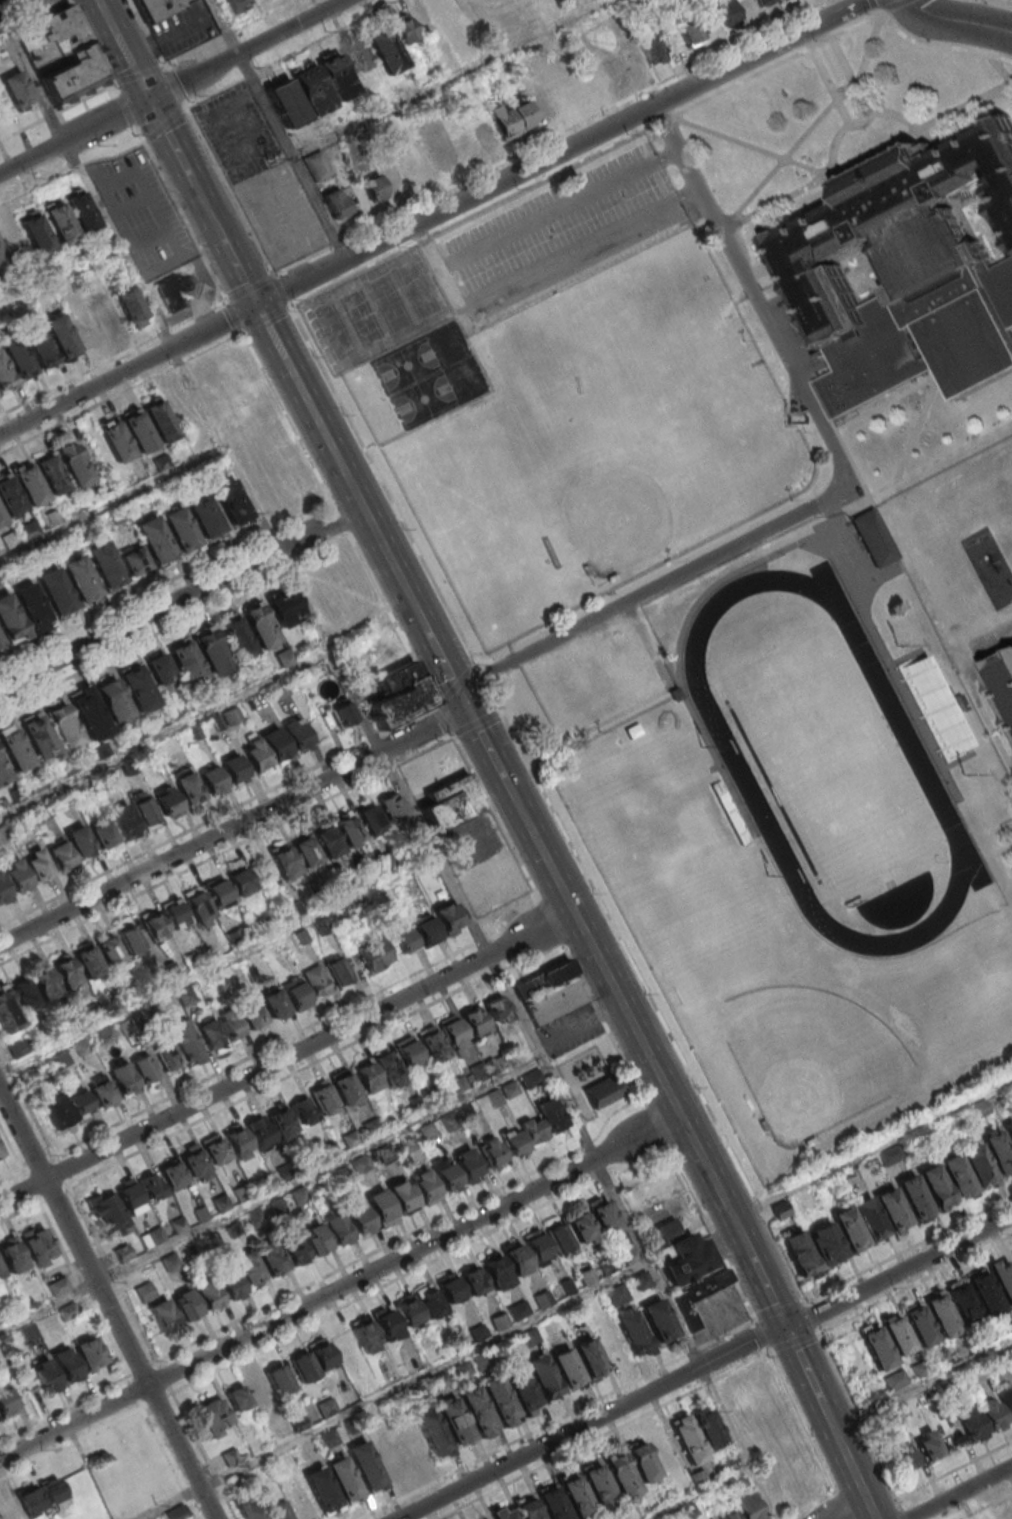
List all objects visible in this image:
building: (766, 4)
building: (238, 5)
road: (875, 5)
park: (25, 6)
road: (897, 6)
building: (158, 8)
building: (444, 8)
building: (725, 11)
building: (425, 17)
road: (953, 21)
building: (403, 28)
building: (689, 31)
road: (148, 33)
road: (5, 36)
building: (52, 36)
road: (95, 47)
road: (939, 47)
building: (651, 48)
road: (124, 49)
building: (385, 50)
road: (291, 52)
building: (624, 63)
road: (775, 64)
road: (838, 65)
road: (163, 66)
road: (166, 68)
road: (995, 70)
road: (140, 74)
building: (74, 75)
road: (450, 78)
road: (174, 85)
road: (826, 86)
road: (172, 87)
building: (17, 88)
road: (995, 96)
traffic signals: (150, 98)
road: (183, 103)
building: (287, 105)
road: (184, 107)
road: (58, 109)
road: (126, 109)
building: (516, 115)
road: (856, 119)
road: (588, 121)
road: (165, 123)
road: (662, 123)
road: (811, 127)
road: (279, 129)
building: (438, 142)
road: (750, 147)
road: (869, 155)
road: (73, 168)
parking lot: (261, 177)
building: (383, 183)
road: (230, 192)
road: (204, 201)
building: (336, 203)
road: (561, 210)
building: (80, 211)
road: (181, 212)
road: (471, 217)
road: (434, 220)
building: (59, 223)
parking lot: (566, 231)
building: (36, 234)
road: (340, 245)
road: (581, 250)
building: (2, 261)
road: (303, 262)
road: (441, 268)
building: (908, 274)
road: (61, 278)
building: (175, 289)
road: (251, 290)
road: (283, 291)
building: (130, 305)
traffic signals: (258, 305)
building: (108, 312)
road: (201, 316)
road: (268, 319)
building: (83, 326)
building: (61, 335)
road: (165, 335)
park: (399, 338)
building: (39, 346)
building: (18, 357)
building: (5, 377)
road: (79, 378)
road: (124, 394)
building: (161, 424)
building: (139, 434)
road: (328, 439)
building: (117, 444)
road: (941, 460)
building: (73, 462)
building: (51, 473)
road: (383, 483)
building: (30, 485)
road: (838, 488)
building: (10, 496)
road: (113, 504)
building: (231, 504)
park: (625, 505)
building: (1, 517)
building: (205, 517)
building: (32, 530)
building: (181, 531)
building: (872, 539)
building: (10, 541)
building: (155, 541)
building: (134, 560)
building: (105, 565)
building: (81, 580)
building: (0, 581)
building: (56, 593)
road: (181, 598)
road: (135, 600)
building: (31, 607)
building: (285, 608)
building: (9, 620)
building: (260, 626)
road: (1001, 628)
building: (237, 638)
road: (433, 641)
road: (138, 644)
building: (0, 645)
building: (0, 648)
building: (211, 651)
building: (284, 657)
building: (187, 663)
building: (159, 669)
building: (1003, 678)
building: (138, 688)
building: (399, 695)
building: (113, 701)
building: (937, 707)
traffic signals: (468, 708)
building: (89, 713)
building: (234, 714)
building: (342, 714)
building: (63, 726)
building: (295, 733)
road: (165, 734)
building: (40, 737)
building: (275, 747)
building: (15, 748)
building: (255, 755)
park: (832, 762)
road: (389, 765)
track: (923, 768)
building: (233, 769)
building: (3, 772)
road: (502, 775)
building: (213, 783)
building: (188, 787)
building: (169, 804)
building: (453, 805)
building: (391, 808)
building: (144, 809)
road: (496, 815)
building: (370, 820)
building: (125, 825)
road: (1011, 825)
road: (234, 827)
building: (350, 829)
building: (103, 835)
building: (327, 840)
building: (80, 844)
road: (227, 851)
building: (307, 851)
building: (60, 856)
building: (285, 862)
building: (38, 864)
building: (17, 878)
building: (240, 882)
building: (218, 891)
building: (3, 892)
building: (198, 906)
building: (175, 914)
road: (504, 916)
building: (448, 917)
building: (155, 928)
building: (426, 930)
building: (130, 940)
building: (404, 941)
building: (109, 950)
building: (371, 955)
building: (88, 961)
road: (219, 965)
building: (337, 970)
building: (66, 972)
building: (315, 978)
road: (612, 979)
road: (642, 982)
building: (45, 983)
building: (296, 994)
building: (550, 994)
building: (24, 996)
building: (273, 1002)
building: (496, 1008)
building: (8, 1011)
building: (253, 1017)
building: (473, 1021)
building: (230, 1024)
building: (211, 1035)
building: (453, 1036)
building: (187, 1042)
building: (431, 1046)
road: (265, 1049)
building: (407, 1051)
building: (167, 1054)
park: (810, 1056)
road: (288, 1057)
building: (144, 1068)
building: (388, 1068)
building: (366, 1077)
building: (531, 1078)
building: (122, 1079)
road: (281, 1081)
building: (457, 1085)
building: (345, 1088)
building: (102, 1092)
building: (600, 1092)
building: (503, 1093)
building: (322, 1096)
building: (80, 1103)
building: (978, 1110)
building: (303, 1111)
building: (57, 1112)
building: (550, 1114)
building: (280, 1119)
building: (371, 1127)
building: (532, 1130)
building: (1008, 1130)
building: (258, 1131)
building: (427, 1133)
building: (350, 1140)
building: (512, 1141)
building: (237, 1142)
building: (215, 1150)
road: (873, 1150)
building: (997, 1151)
building: (1, 1152)
building: (491, 1152)
road: (55, 1156)
road: (18, 1159)
building: (193, 1162)
building: (976, 1164)
building: (362, 1165)
building: (468, 1167)
road: (321, 1169)
building: (171, 1173)
building: (956, 1174)
building: (445, 1175)
building: (150, 1184)
building: (935, 1185)
building: (424, 1188)
building: (299, 1196)
building: (912, 1196)
building: (130, 1198)
building: (402, 1199)
building: (890, 1208)
building: (380, 1209)
building: (108, 1212)
road: (20, 1213)
building: (359, 1221)
road: (736, 1222)
building: (859, 1224)
building: (582, 1230)
building: (337, 1232)
building: (558, 1239)
building: (38, 1243)
building: (316, 1243)
building: (811, 1248)
building: (293, 1251)
building: (526, 1253)
building: (629, 1254)
building: (11, 1255)
building: (680, 1255)
building: (271, 1261)
road: (358, 1261)
building: (249, 1268)
building: (495, 1271)
building: (1, 1274)
building: (1003, 1280)
building: (473, 1281)
road: (389, 1284)
road: (916, 1284)
building: (58, 1285)
building: (229, 1285)
road: (341, 1288)
building: (449, 1288)
road: (122, 1290)
building: (144, 1291)
building: (207, 1293)
building: (985, 1293)
building: (617, 1295)
building: (700, 1300)
road: (108, 1301)
building: (429, 1301)
building: (185, 1305)
building: (963, 1305)
road: (49, 1306)
building: (67, 1311)
road: (780, 1312)
building: (407, 1313)
building: (162, 1315)
building: (941, 1315)
road: (813, 1317)
building: (0, 1318)
building: (657, 1320)
building: (386, 1323)
building: (919, 1324)
traffic signals: (789, 1327)
building: (631, 1330)
building: (28, 1331)
building: (363, 1335)
road: (762, 1335)
building: (897, 1335)
road: (795, 1343)
building: (342, 1345)
building: (611, 1347)
building: (877, 1348)
building: (587, 1354)
building: (89, 1358)
building: (310, 1361)
building: (65, 1366)
building: (565, 1367)
road: (706, 1367)
building: (541, 1376)
building: (44, 1379)
building: (278, 1379)
road: (922, 1382)
road: (393, 1391)
building: (247, 1392)
building: (522, 1393)
building: (497, 1397)
building: (1006, 1400)
building: (6, 1404)
road: (143, 1408)
building: (475, 1408)
road: (64, 1410)
building: (988, 1411)
building: (212, 1415)
road: (829, 1415)
building: (452, 1419)
road: (802, 1421)
road: (861, 1421)
building: (969, 1421)
building: (430, 1430)
building: (709, 1431)
road: (528, 1435)
road: (604, 1435)
building: (687, 1440)
road: (71, 1445)
building: (927, 1445)
building: (410, 1446)
building: (387, 1457)
building: (904, 1457)
building: (641, 1461)
building: (364, 1465)
road: (955, 1471)
building: (621, 1475)
building: (698, 1477)
building: (342, 1478)
building: (597, 1484)
building: (320, 1488)
building: (50, 1490)
road: (959, 1492)
road: (700, 1494)
building: (575, 1496)
building: (28, 1498)
building: (297, 1498)
building: (552, 1504)
road: (841, 1505)
road: (984, 1505)
building: (749, 1506)
building: (527, 1509)
building: (9, 1510)
building: (251, 1511)
building: (279, 1511)
road: (855, 1511)
road: (872, 1512)
building: (504, 1515)
building: (728, 1515)
road: (902, 1515)
building: (1009, 1517)

